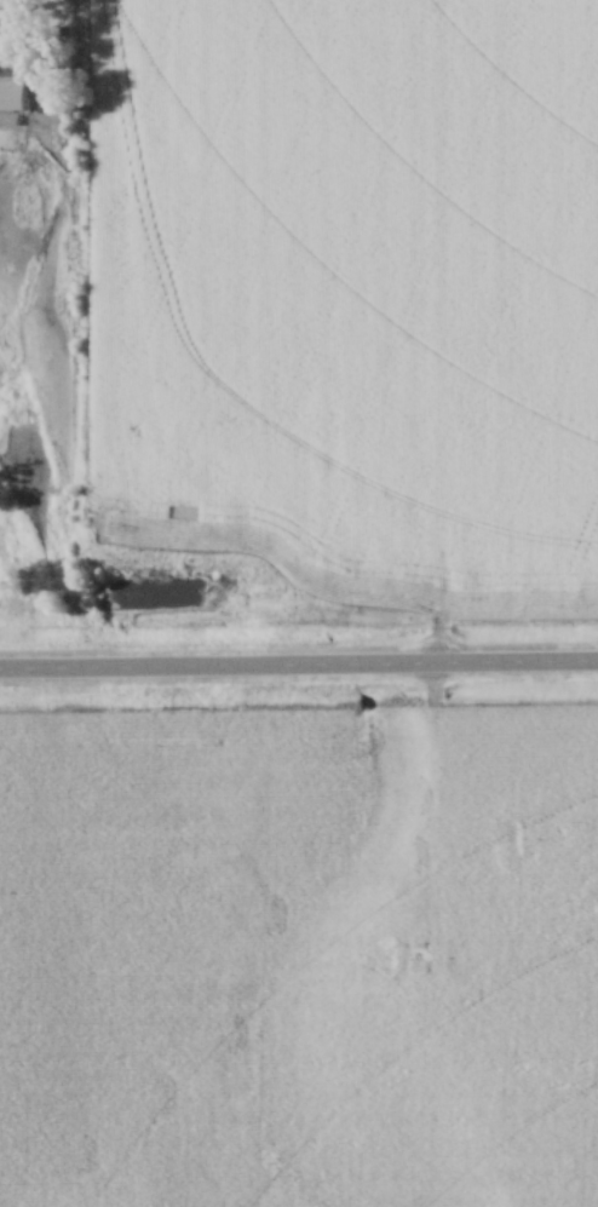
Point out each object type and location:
building: (0, 31)
building: (10, 99)
crop: (349, 291)
road: (298, 665)
crop: (299, 958)

